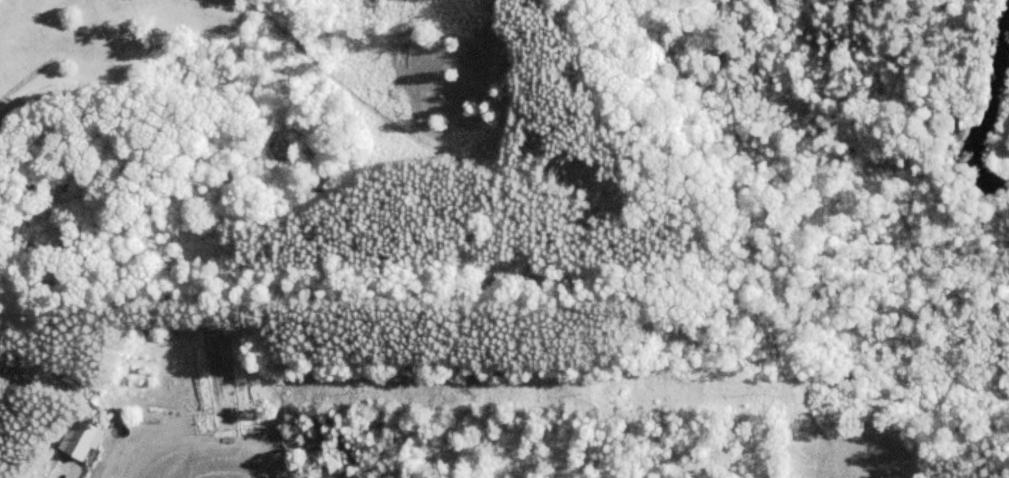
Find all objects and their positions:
river: (990, 112)
building: (91, 440)

